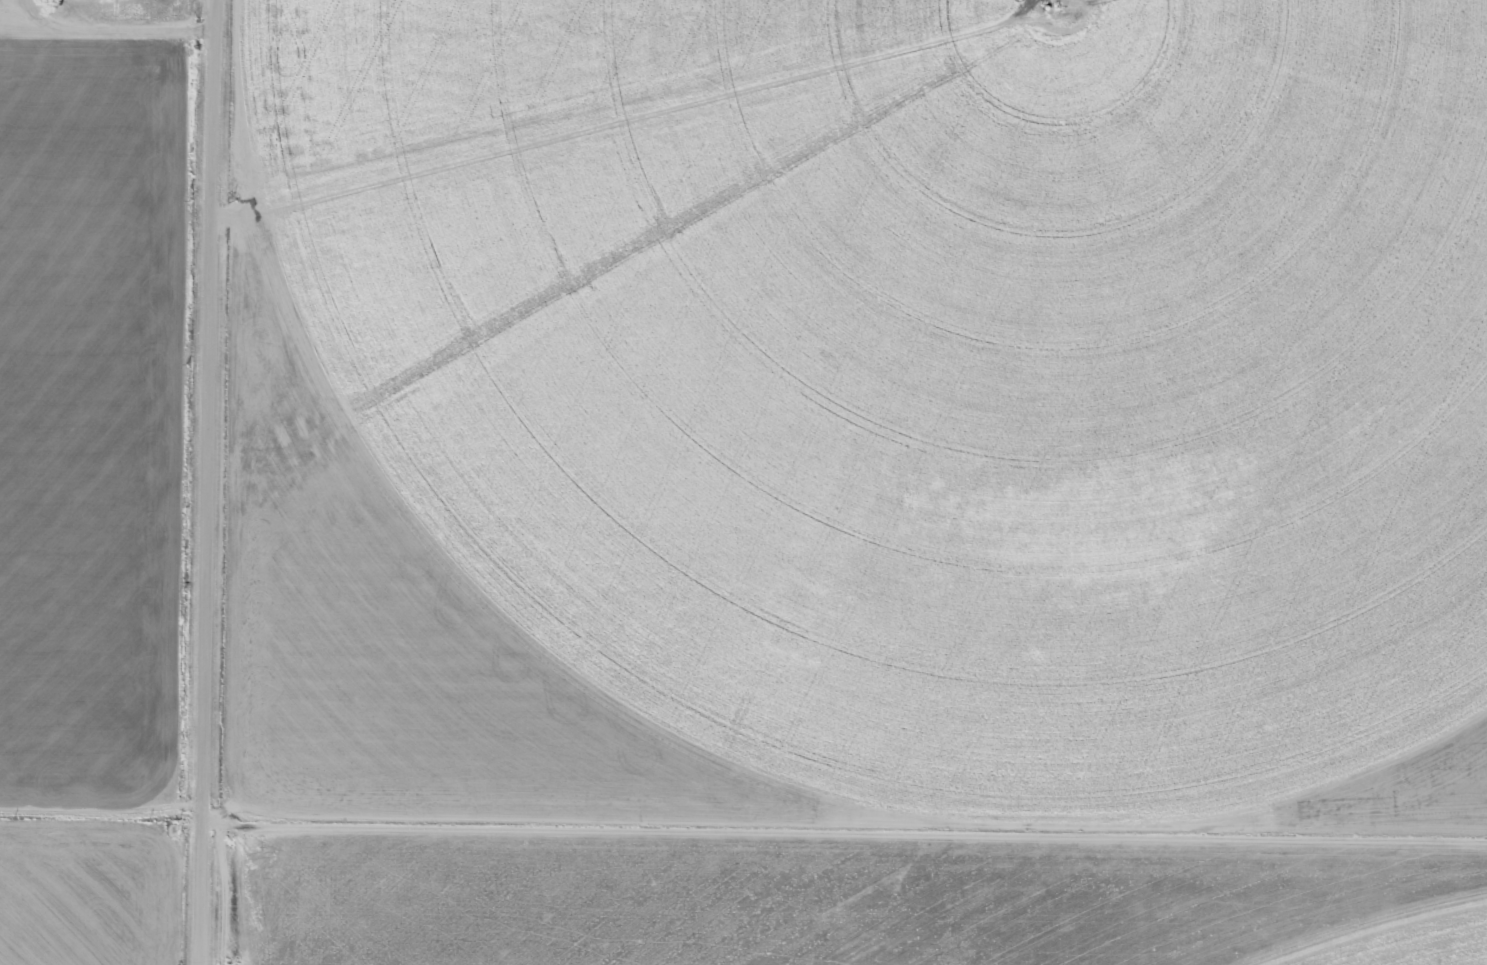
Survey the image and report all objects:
road: (109, 29)
crop: (869, 409)
road: (204, 482)
crop: (866, 920)

